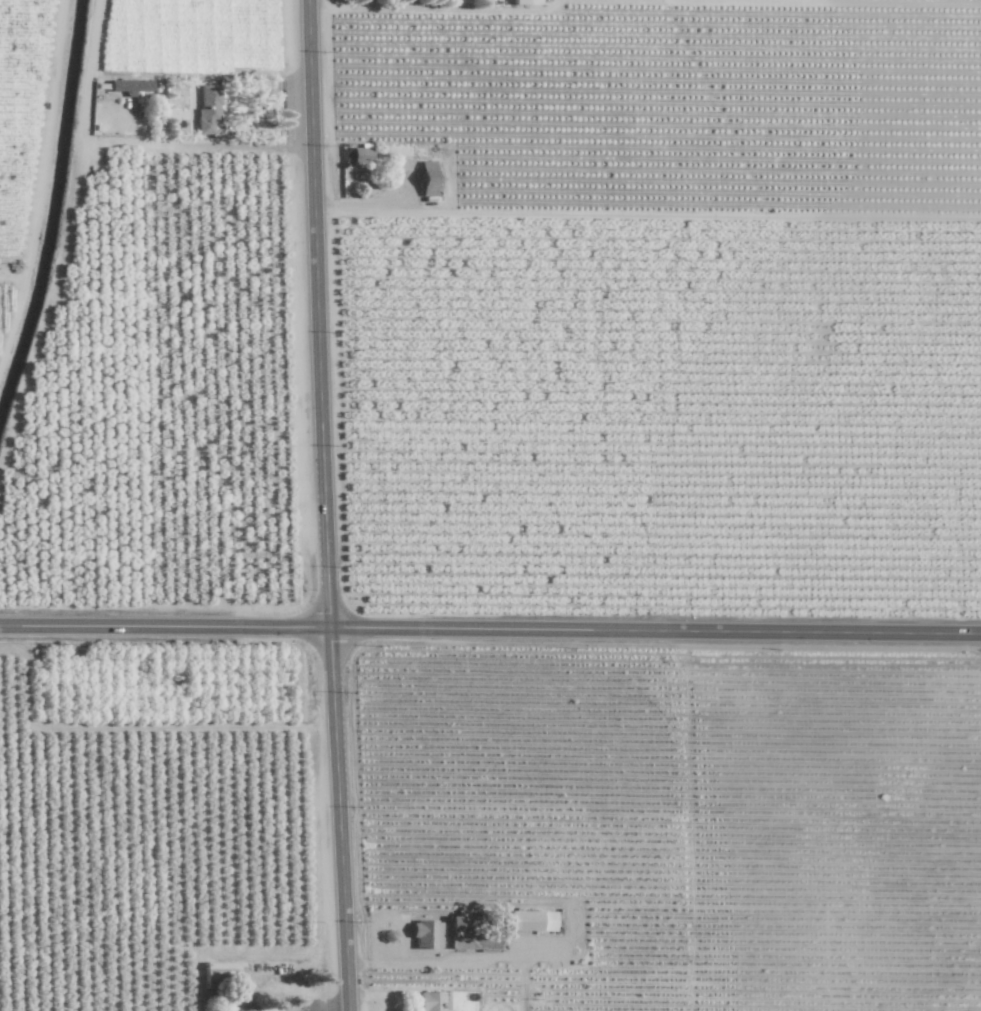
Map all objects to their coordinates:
building: (531, 2)
building: (132, 86)
building: (208, 108)
building: (356, 154)
building: (428, 177)
road: (325, 505)
road: (490, 628)
building: (526, 920)
building: (426, 934)
building: (223, 973)
building: (433, 1001)
building: (248, 1008)

